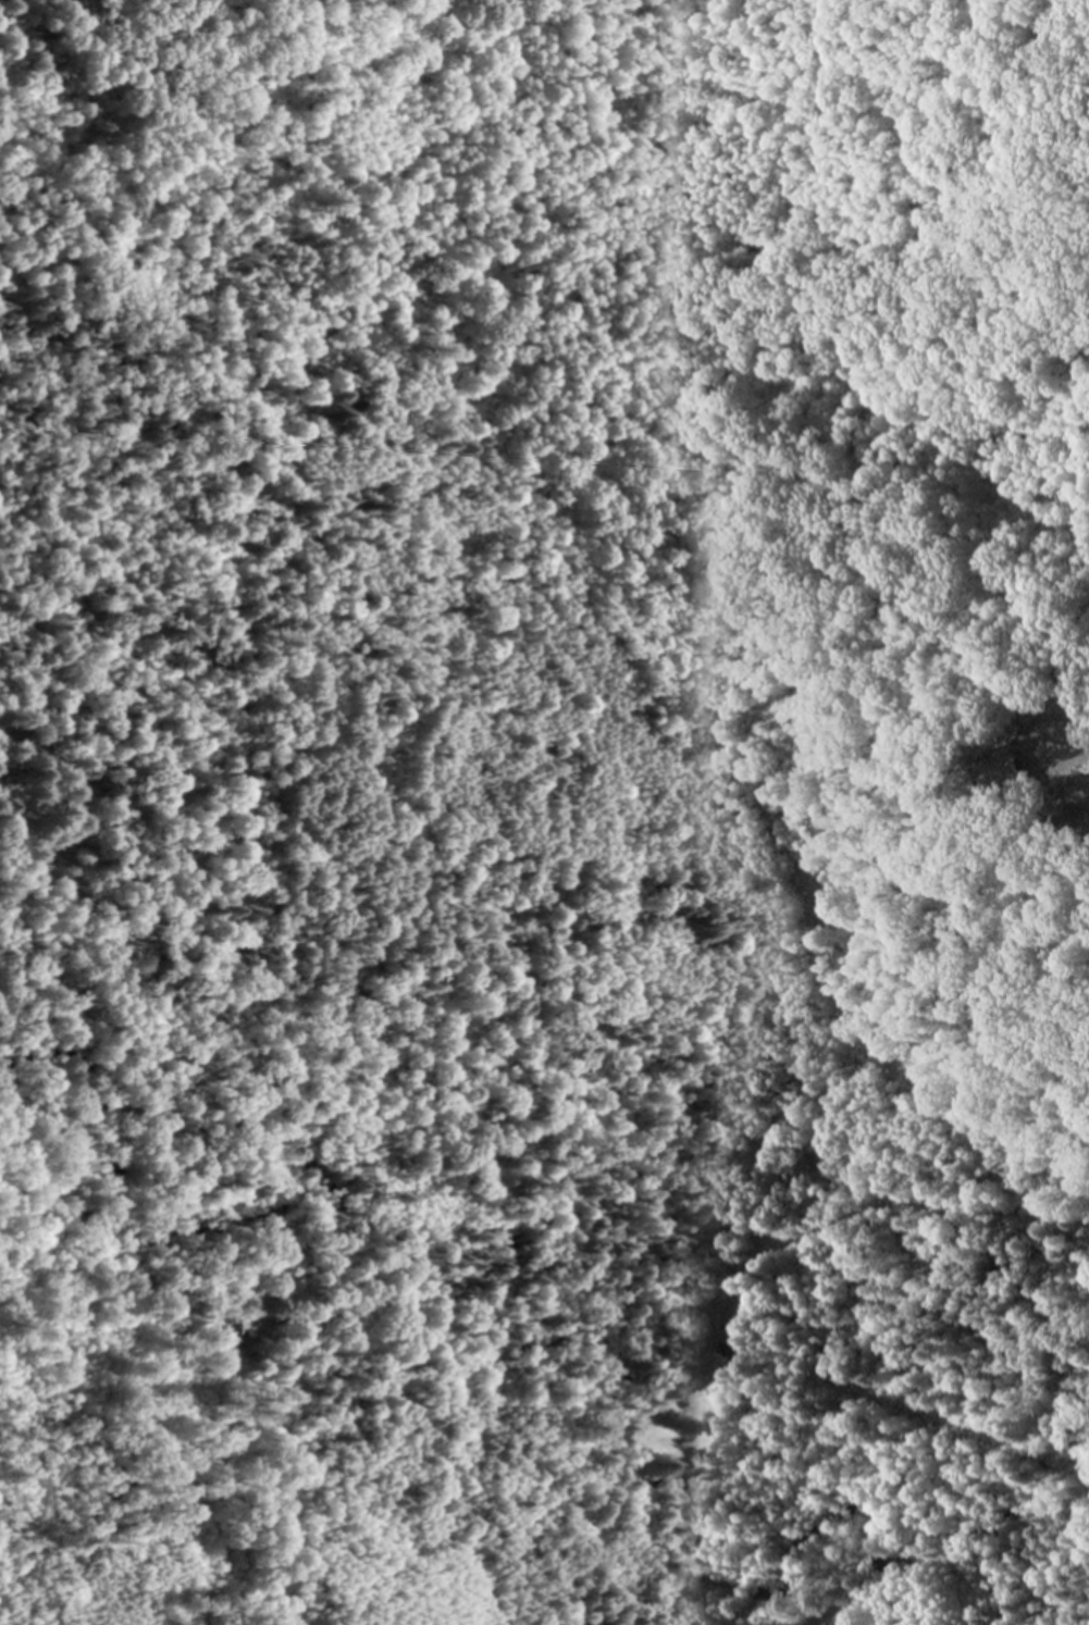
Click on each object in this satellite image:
road: (908, 1203)
building: (232, 1335)
building: (735, 1342)
road: (593, 1522)
road: (426, 1523)

